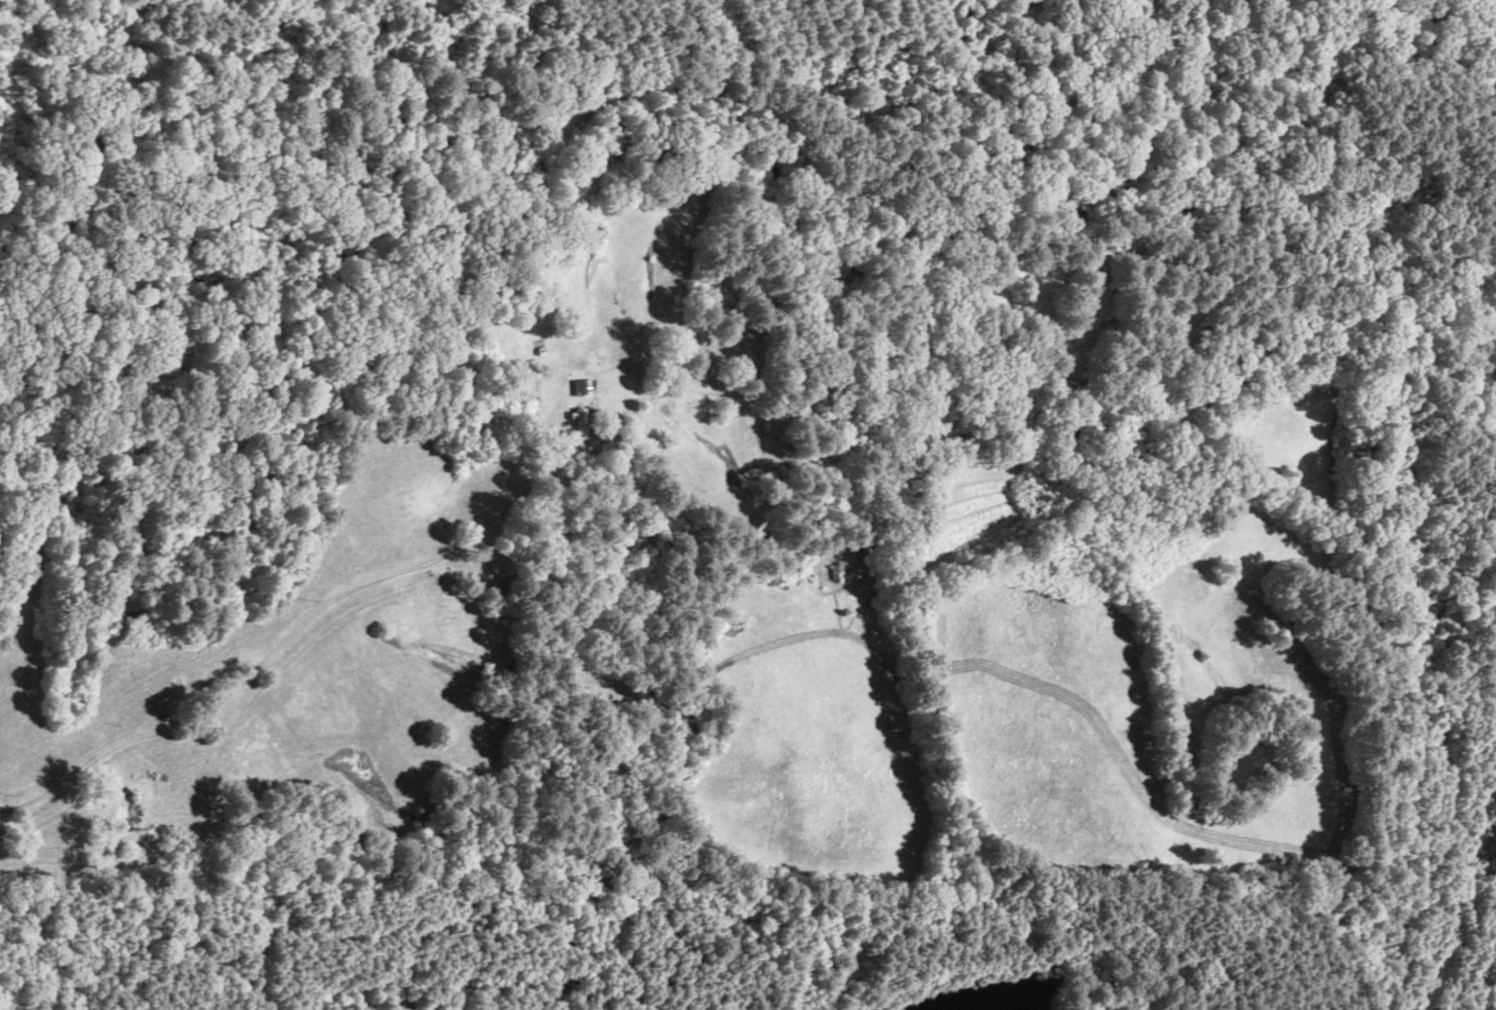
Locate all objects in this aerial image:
building: (580, 386)
building: (579, 420)
building: (863, 549)
building: (836, 571)
building: (140, 630)
road: (289, 631)

